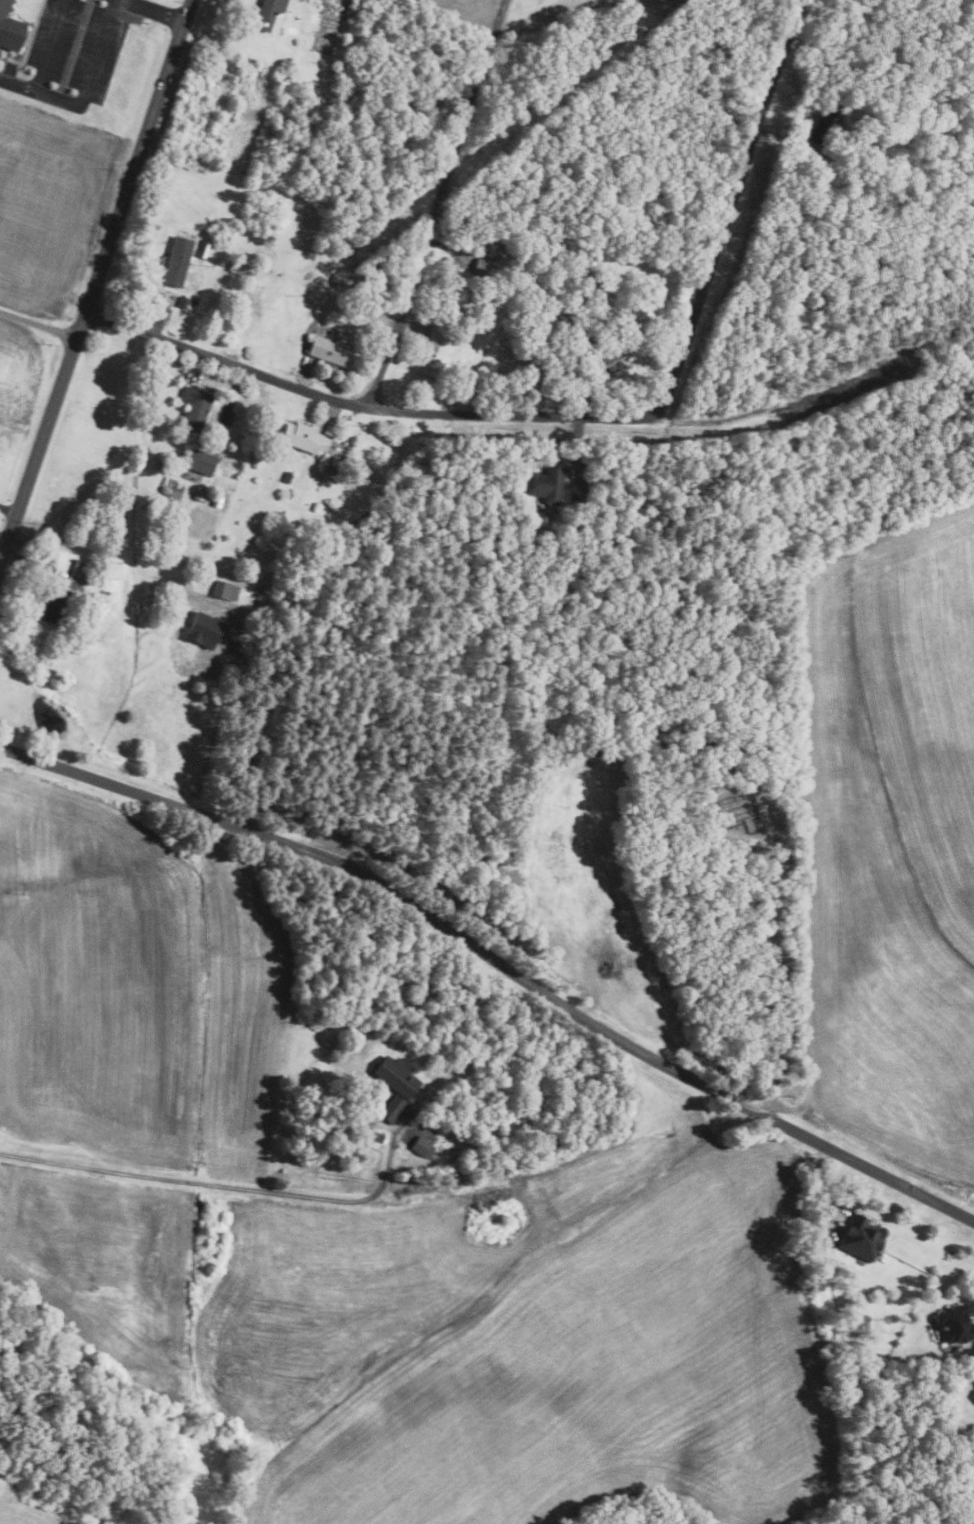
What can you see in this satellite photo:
road: (156, 11)
building: (266, 14)
building: (9, 29)
road: (17, 87)
road: (64, 103)
building: (826, 124)
road: (783, 141)
road: (434, 203)
building: (203, 248)
building: (177, 261)
building: (233, 266)
building: (481, 267)
building: (335, 277)
road: (96, 278)
building: (162, 313)
road: (146, 320)
road: (38, 325)
road: (408, 329)
building: (555, 347)
building: (330, 350)
building: (605, 352)
building: (432, 353)
road: (615, 365)
road: (197, 367)
crop: (21, 370)
road: (304, 374)
road: (227, 404)
building: (195, 408)
road: (330, 411)
road: (582, 415)
building: (303, 437)
road: (577, 446)
building: (200, 461)
building: (286, 476)
building: (324, 477)
building: (544, 484)
building: (201, 495)
building: (217, 500)
building: (315, 506)
building: (333, 506)
road: (7, 511)
road: (26, 566)
building: (84, 566)
building: (224, 590)
building: (59, 606)
building: (201, 630)
building: (736, 812)
crop: (890, 837)
crop: (595, 900)
road: (609, 959)
road: (495, 962)
road: (787, 981)
crop: (136, 989)
building: (396, 1076)
building: (392, 1108)
building: (360, 1114)
building: (375, 1135)
road: (218, 1184)
building: (862, 1236)
building: (956, 1323)
crop: (465, 1329)

